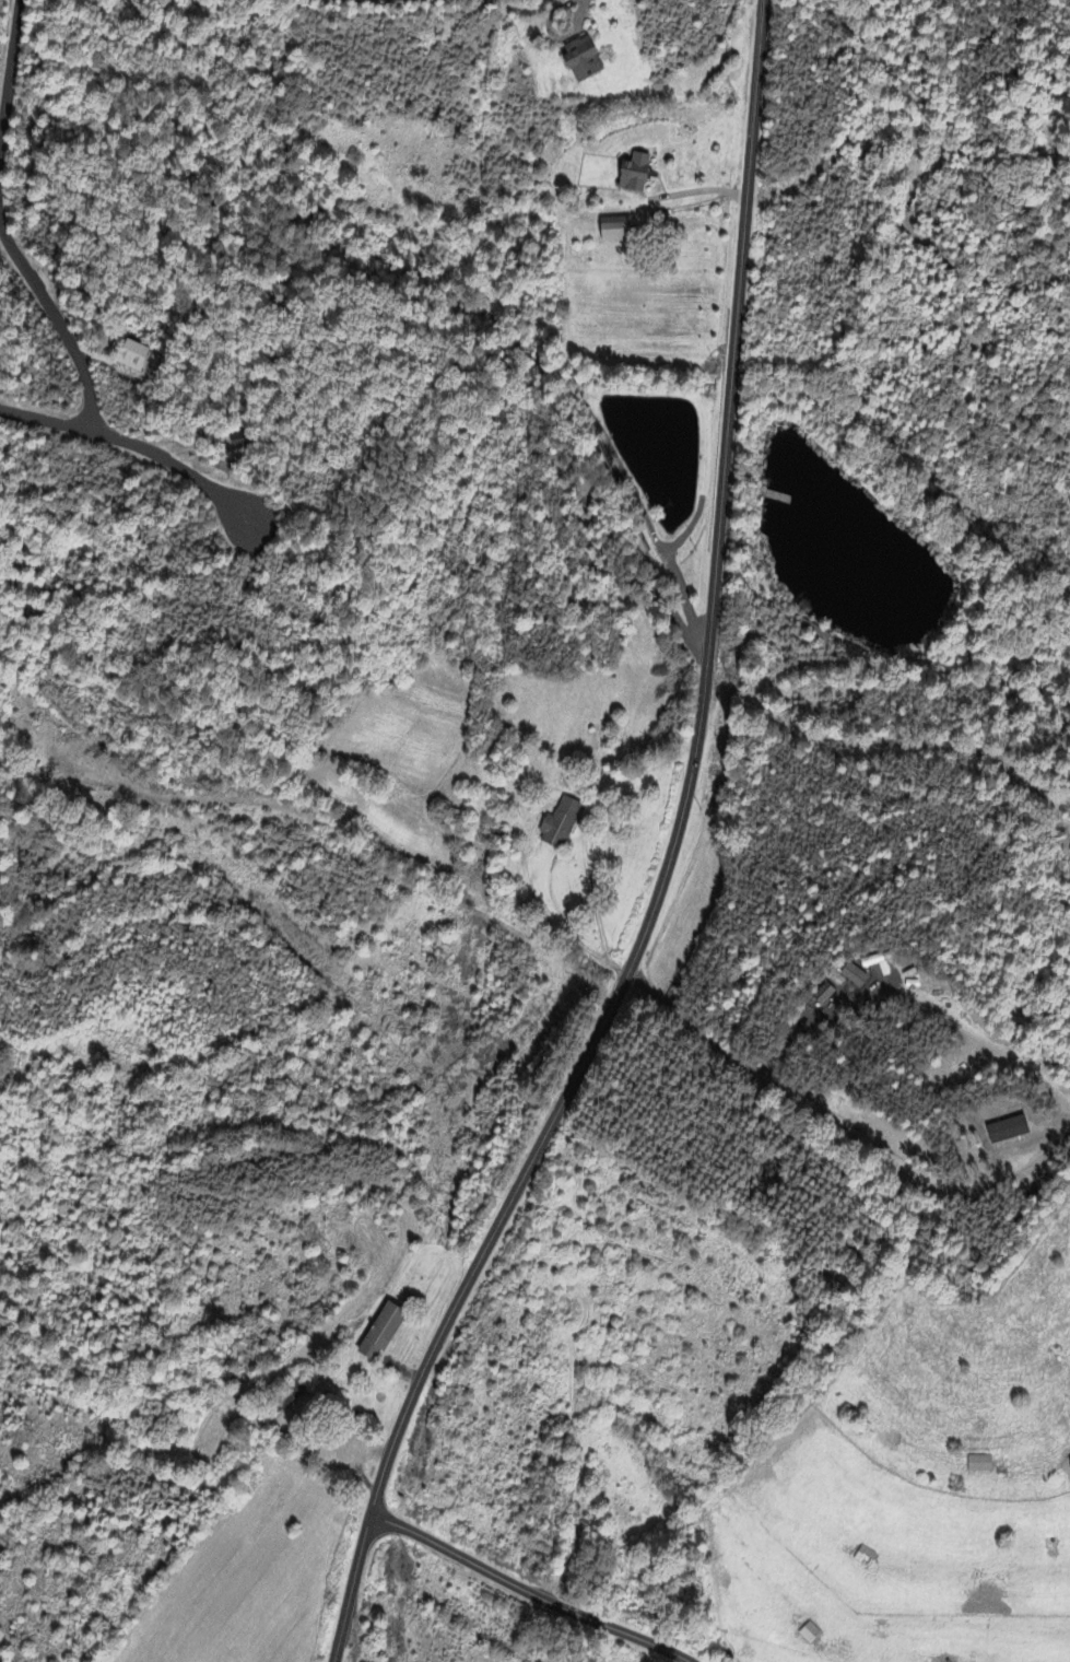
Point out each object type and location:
building: (581, 61)
road: (10, 67)
building: (633, 175)
building: (614, 231)
building: (132, 358)
road: (74, 361)
building: (238, 442)
road: (174, 467)
road: (882, 747)
road: (683, 789)
building: (560, 824)
road: (343, 839)
road: (752, 1072)
building: (380, 1334)
building: (978, 1464)
road: (349, 1587)
road: (525, 1590)
building: (809, 1634)

